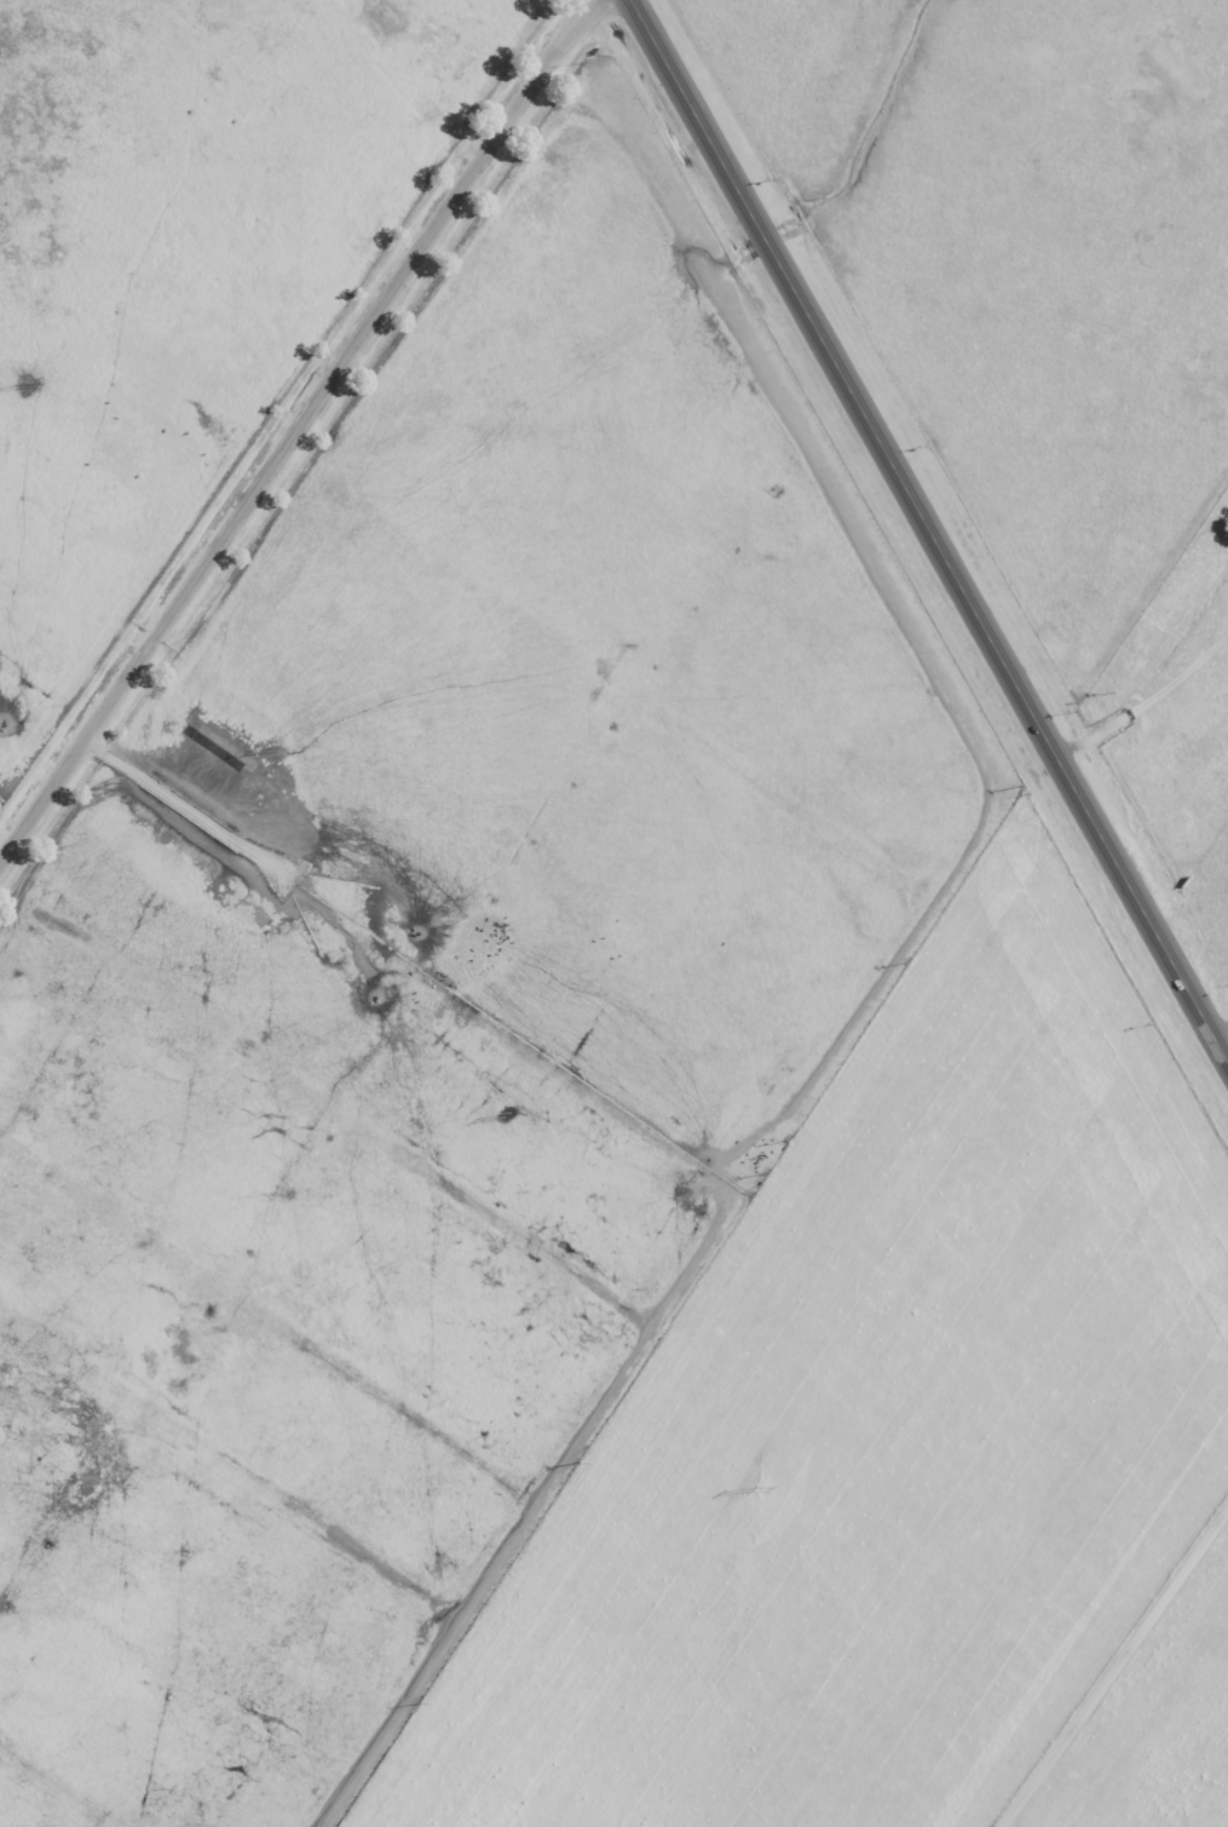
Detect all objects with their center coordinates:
power tower: (28, 384)
road: (296, 427)
road: (934, 523)
power tower: (267, 749)
power tower: (505, 1111)
power tower: (749, 1484)
road: (1111, 1656)

